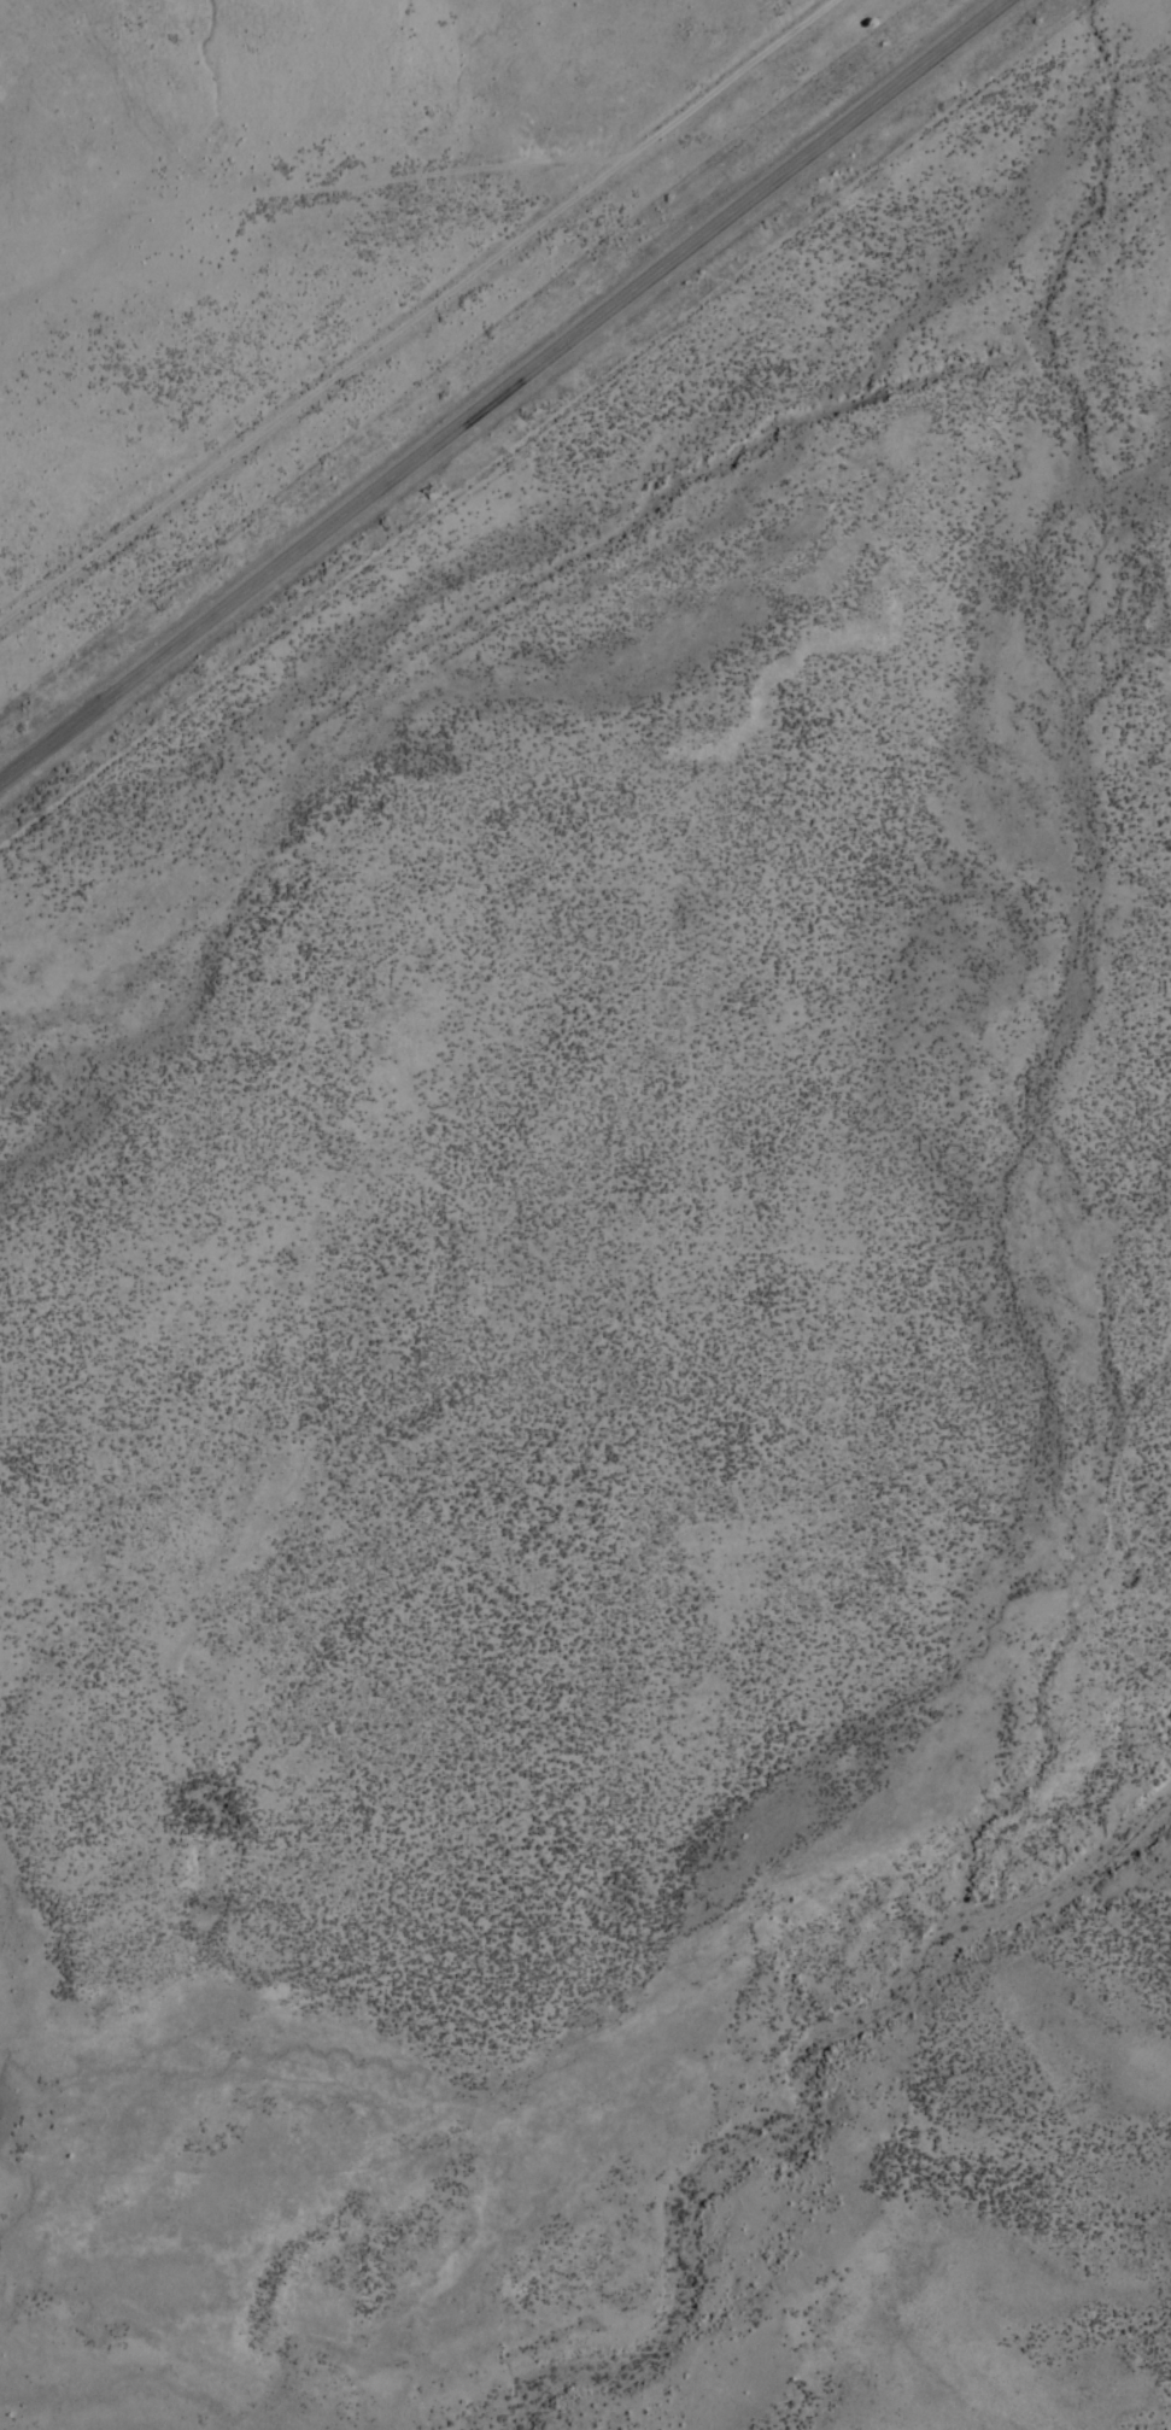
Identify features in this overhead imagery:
road: (496, 386)

